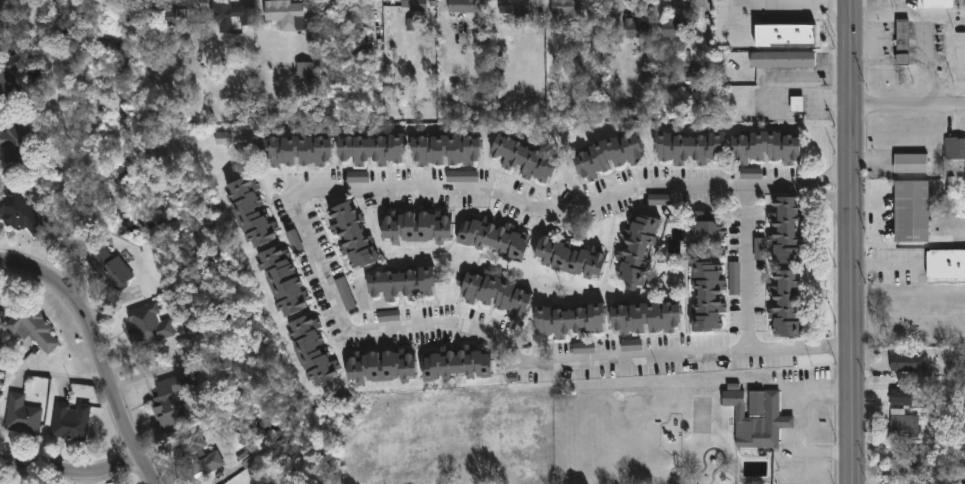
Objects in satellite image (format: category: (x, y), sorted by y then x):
road: (787, 2)
building: (935, 4)
building: (408, 6)
building: (461, 7)
building: (513, 7)
building: (567, 9)
building: (349, 12)
building: (284, 15)
building: (231, 17)
building: (165, 19)
building: (608, 27)
building: (1, 28)
building: (669, 29)
building: (637, 30)
building: (0, 32)
building: (785, 36)
building: (902, 42)
building: (781, 60)
building: (305, 70)
building: (8, 75)
road: (809, 78)
building: (796, 104)
road: (909, 109)
building: (15, 147)
building: (689, 149)
building: (765, 149)
building: (954, 149)
building: (370, 150)
building: (295, 152)
building: (444, 152)
building: (607, 158)
building: (523, 159)
building: (910, 164)
building: (750, 174)
building: (357, 177)
building: (462, 177)
building: (659, 200)
building: (911, 212)
building: (250, 213)
building: (19, 214)
road: (570, 215)
building: (416, 227)
building: (783, 231)
building: (351, 236)
building: (702, 236)
building: (493, 239)
building: (294, 241)
road: (852, 241)
building: (759, 249)
building: (636, 250)
building: (568, 258)
building: (945, 264)
road: (887, 266)
road: (319, 275)
building: (110, 277)
building: (734, 278)
road: (747, 278)
building: (281, 282)
building: (400, 286)
building: (345, 294)
building: (494, 295)
building: (706, 297)
building: (784, 304)
building: (388, 316)
building: (644, 320)
building: (567, 321)
building: (148, 326)
building: (36, 333)
building: (631, 345)
building: (584, 348)
building: (311, 352)
road: (97, 353)
building: (909, 363)
building: (456, 366)
building: (379, 368)
road: (595, 370)
road: (53, 376)
building: (901, 397)
building: (170, 401)
building: (21, 418)
building: (756, 419)
road: (799, 422)
building: (70, 423)
building: (903, 425)
building: (199, 462)
building: (903, 463)
road: (70, 476)

